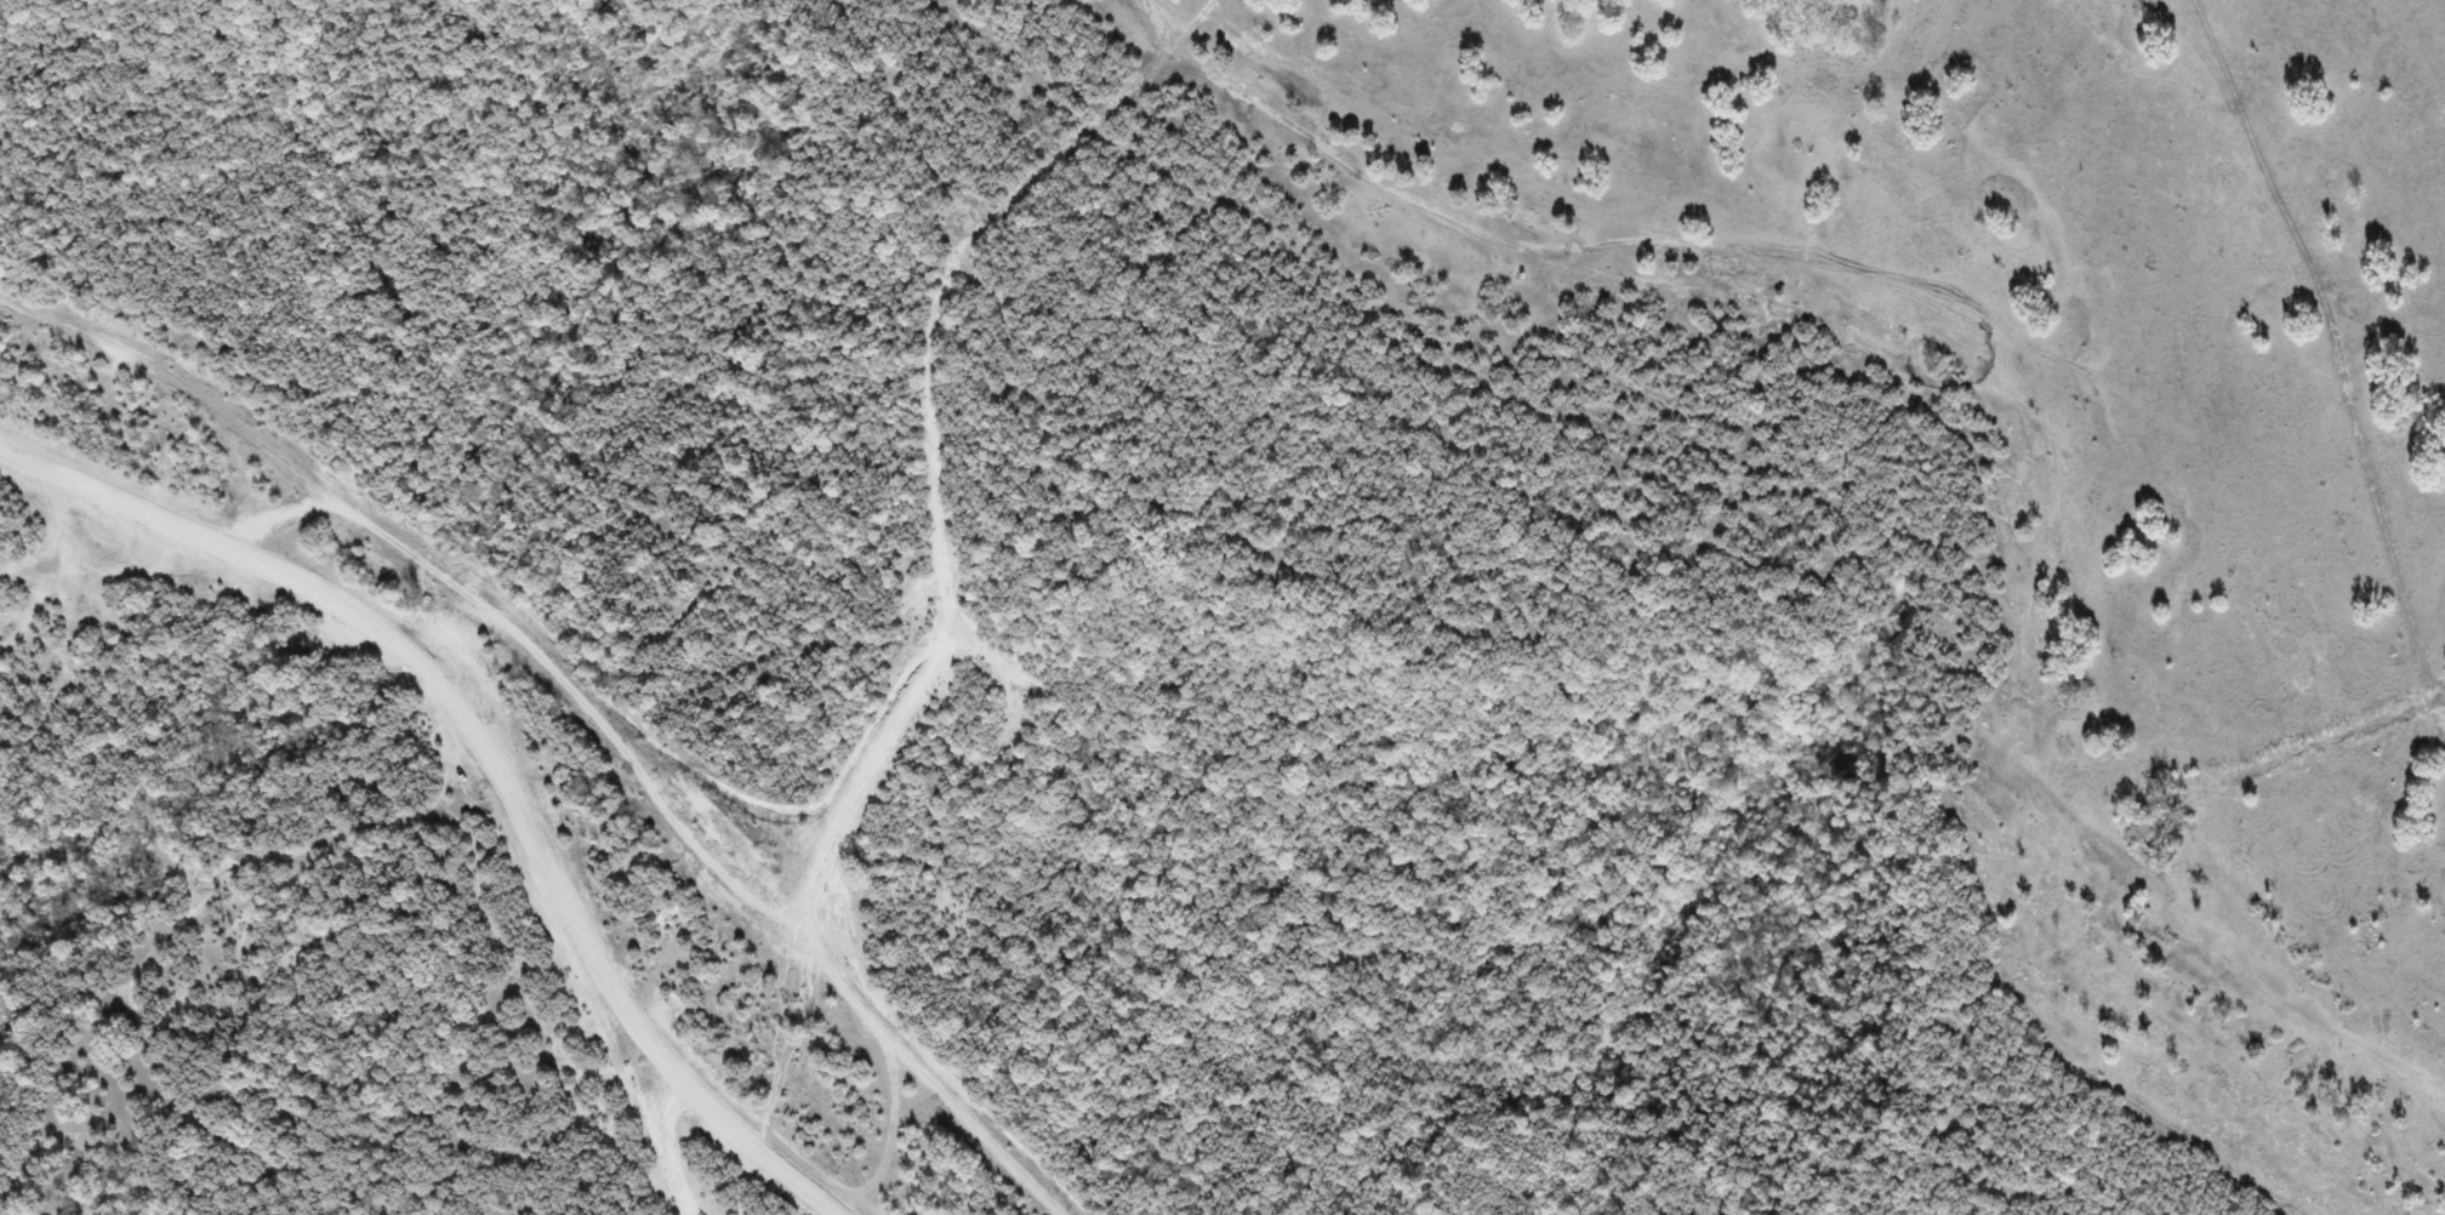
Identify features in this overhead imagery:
road: (2336, 287)
road: (488, 755)

